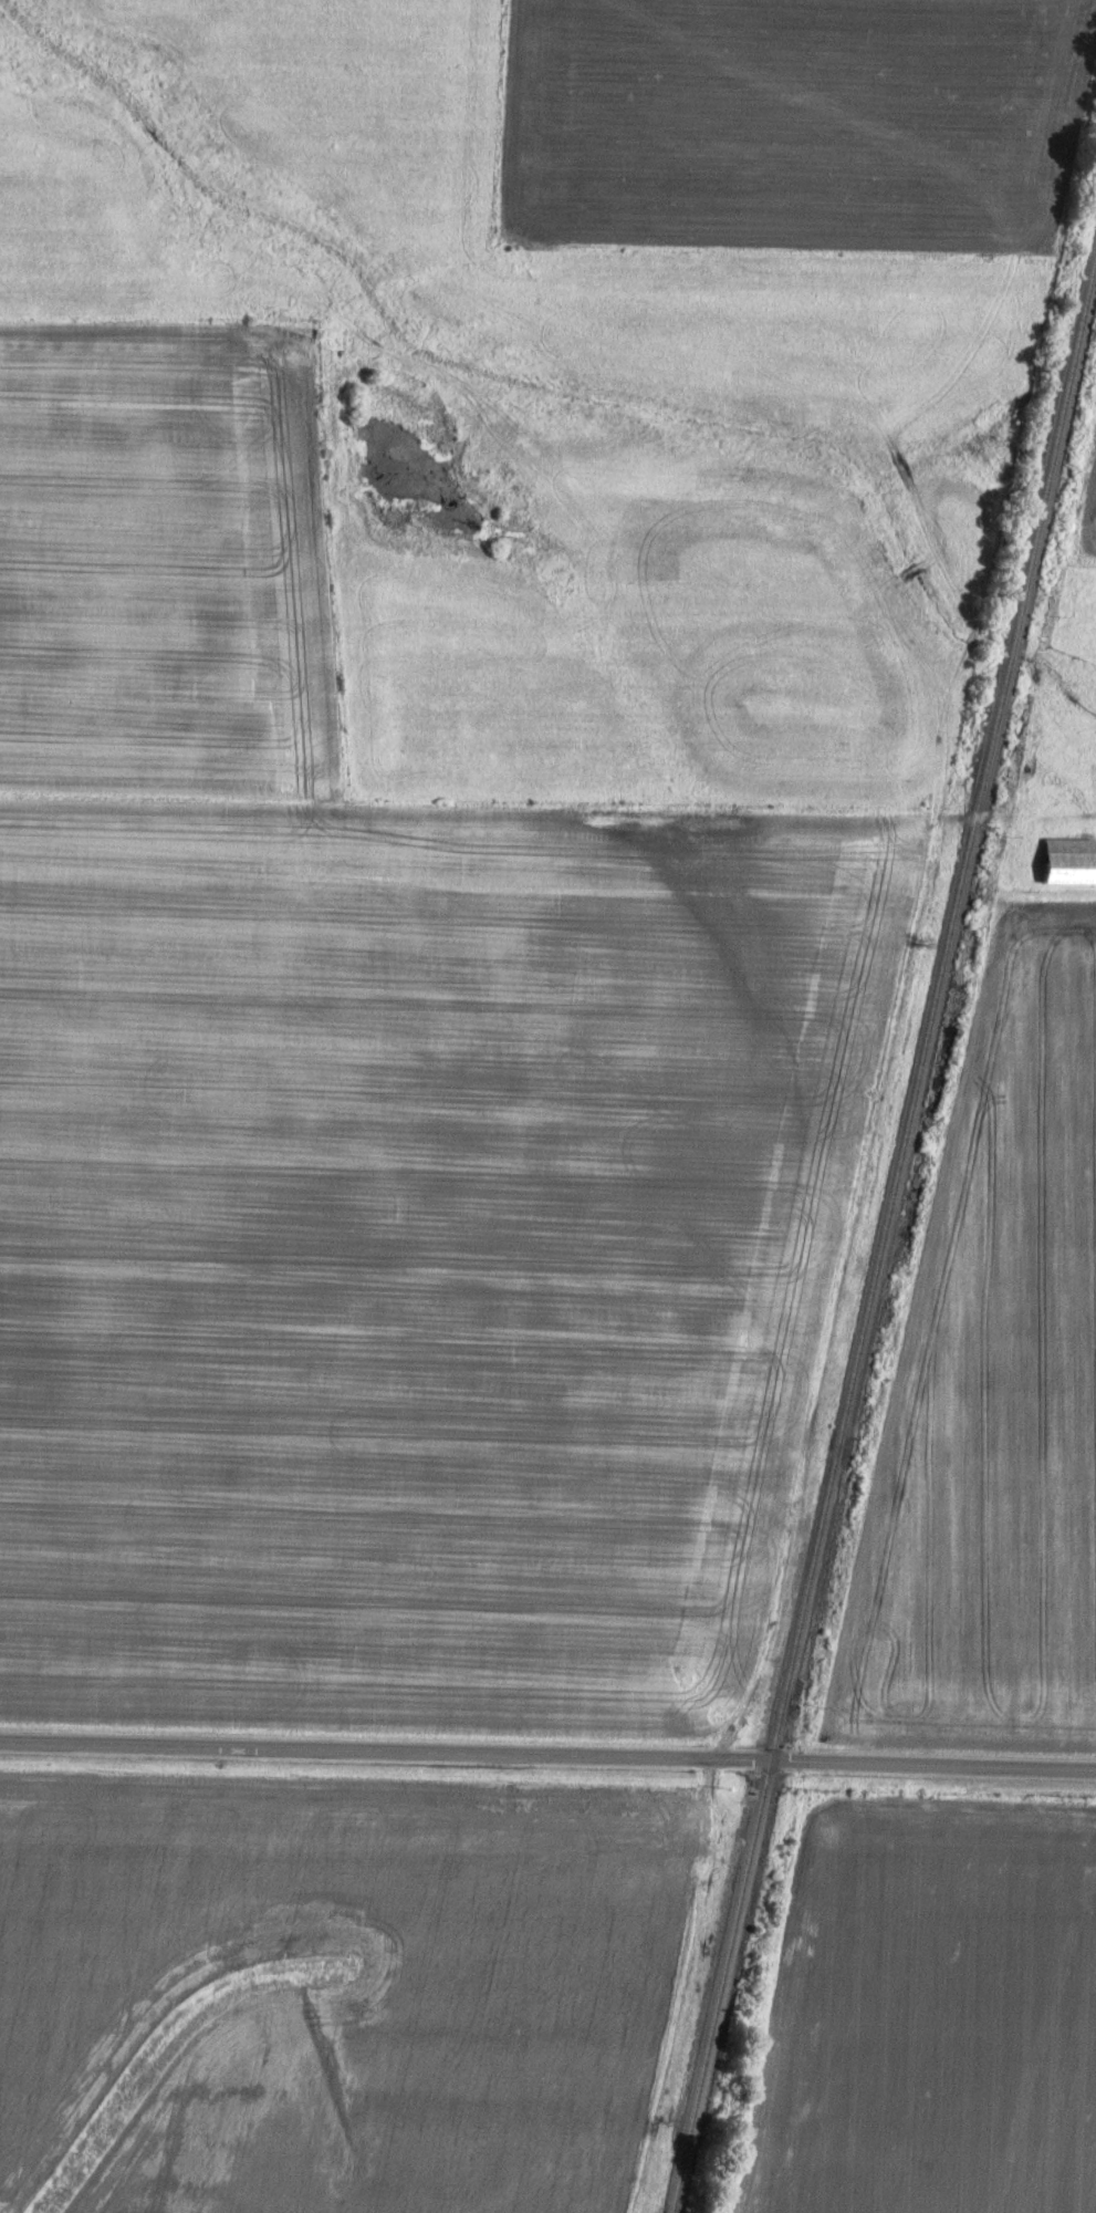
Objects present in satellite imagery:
railway: (884, 1243)
road: (547, 1756)

